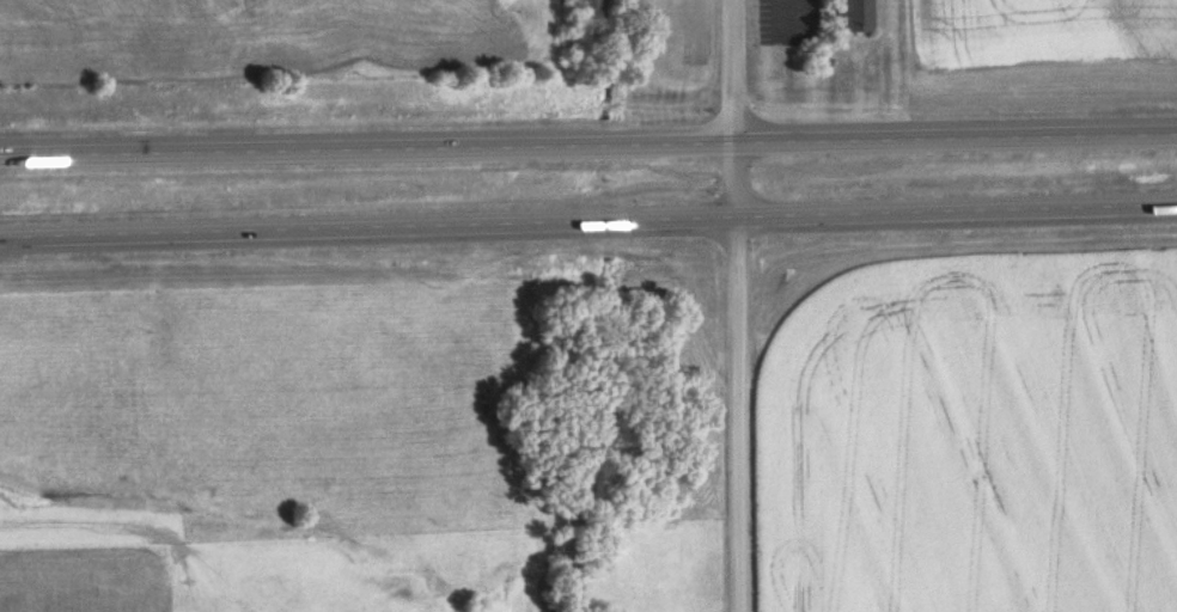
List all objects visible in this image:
building: (855, 16)
road: (588, 141)
road: (588, 226)
road: (738, 305)

